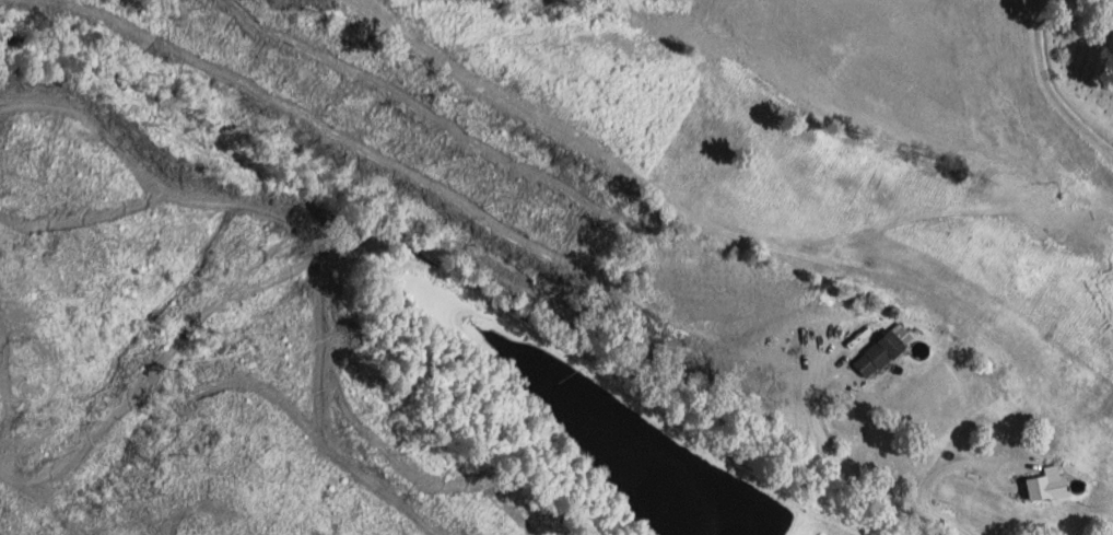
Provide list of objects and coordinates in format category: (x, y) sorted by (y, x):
road: (1048, 89)
building: (876, 352)
building: (1044, 486)
road: (940, 520)

